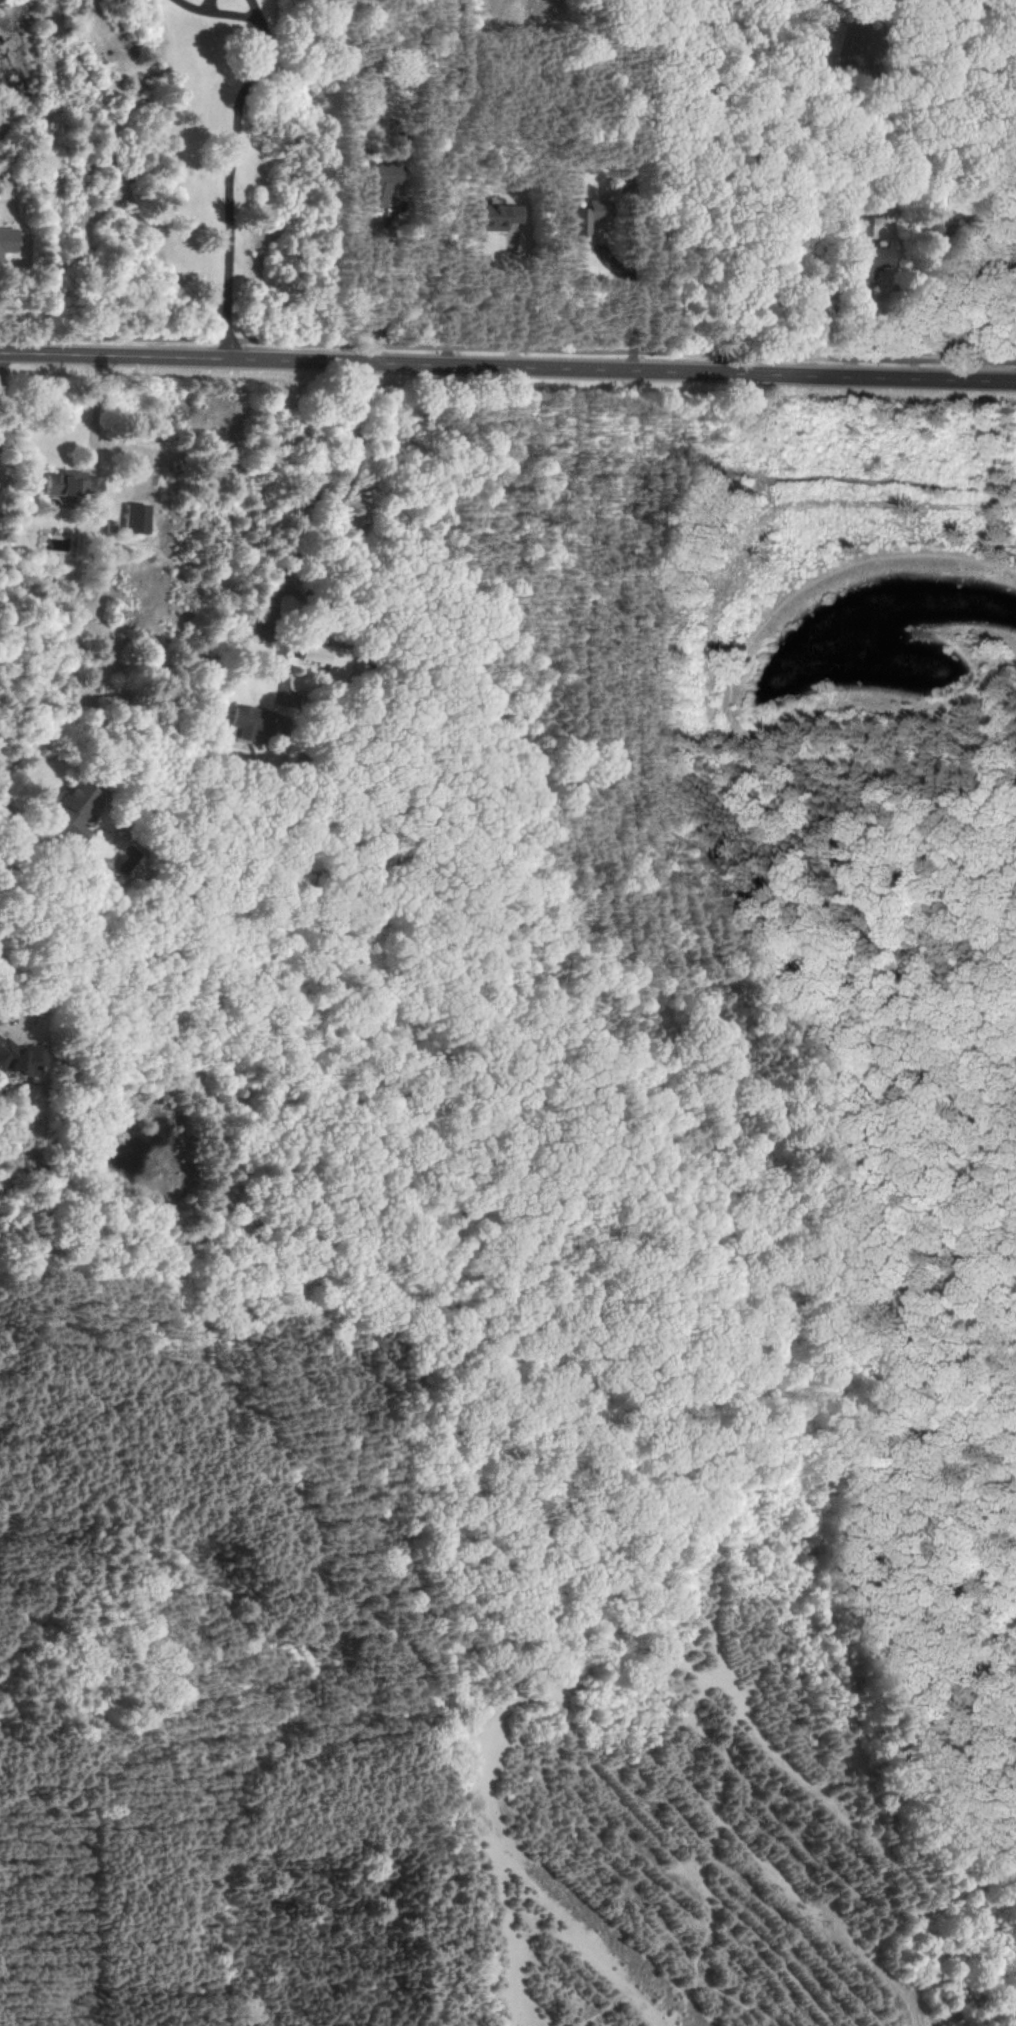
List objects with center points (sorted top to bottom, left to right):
road: (1008, 20)
road: (811, 104)
road: (241, 146)
road: (444, 183)
building: (378, 186)
building: (496, 217)
building: (580, 219)
building: (4, 240)
building: (871, 262)
road: (727, 278)
road: (373, 285)
road: (631, 310)
road: (508, 350)
road: (507, 371)
road: (1, 383)
building: (66, 485)
building: (132, 519)
road: (317, 530)
road: (995, 542)
road: (810, 581)
road: (587, 597)
building: (321, 657)
road: (1, 709)
road: (880, 747)
road: (996, 803)
building: (69, 813)
road: (983, 908)
road: (623, 913)
road: (21, 972)
road: (947, 1002)
road: (733, 1053)
building: (19, 1059)
road: (997, 1082)
park: (592, 1300)
road: (758, 1324)
road: (938, 1331)
road: (821, 1351)
road: (371, 1415)
road: (433, 1452)
road: (521, 1585)
road: (661, 1590)
road: (145, 1685)
road: (45, 1707)
road: (950, 1708)
road: (450, 1838)
road: (880, 1964)

